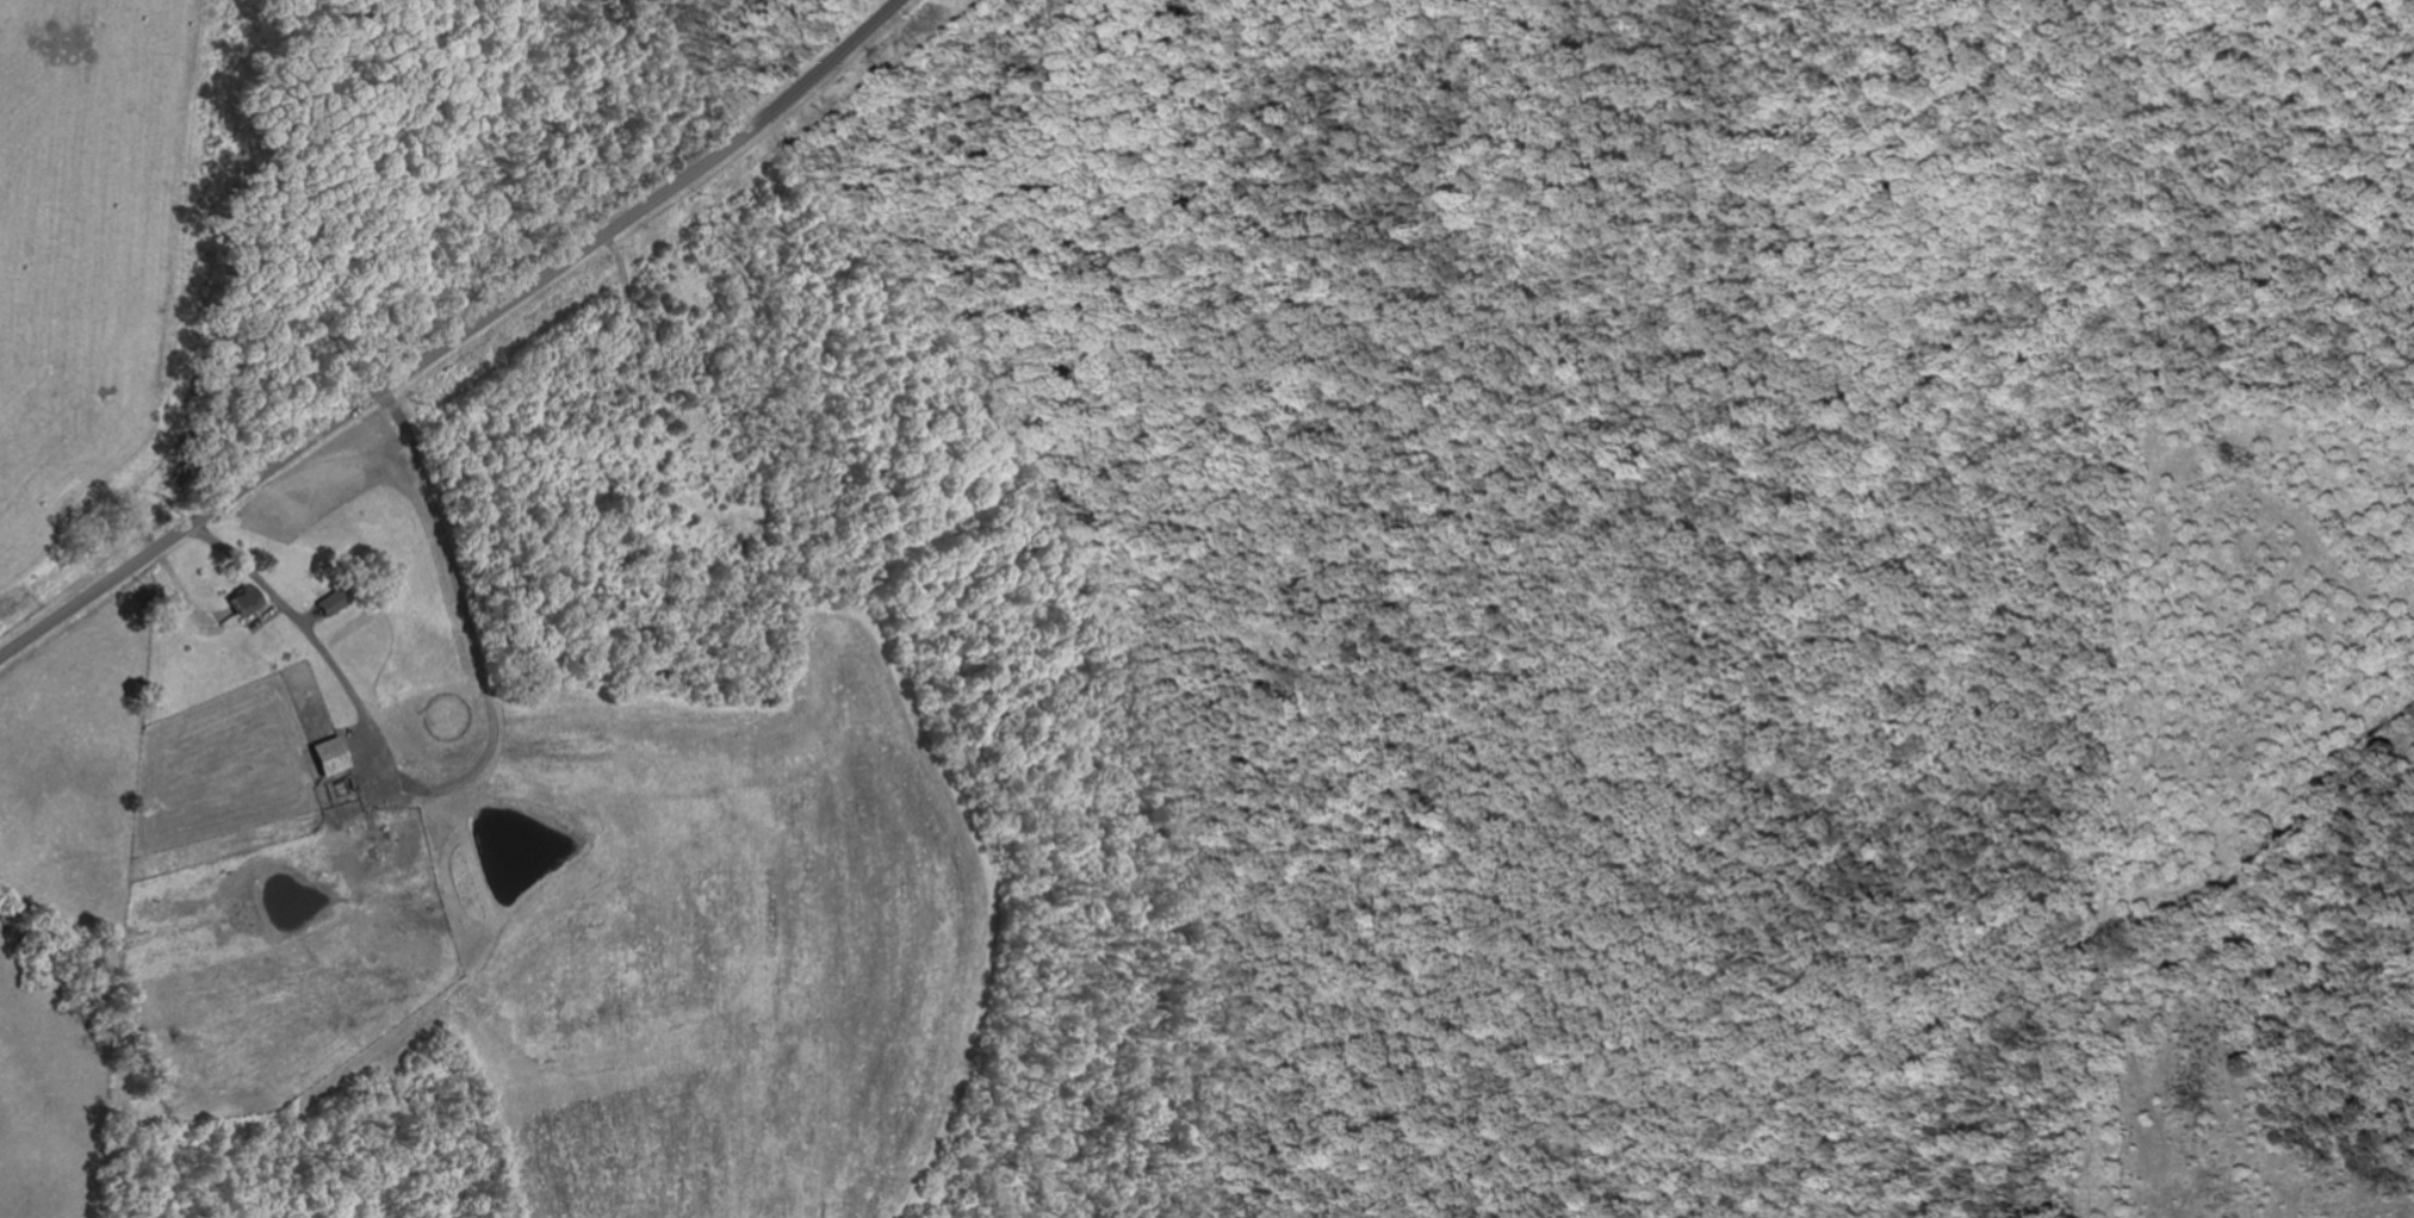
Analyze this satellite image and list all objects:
road: (458, 340)
building: (1314, 591)
building: (645, 594)
building: (238, 602)
building: (330, 605)
building: (328, 757)

